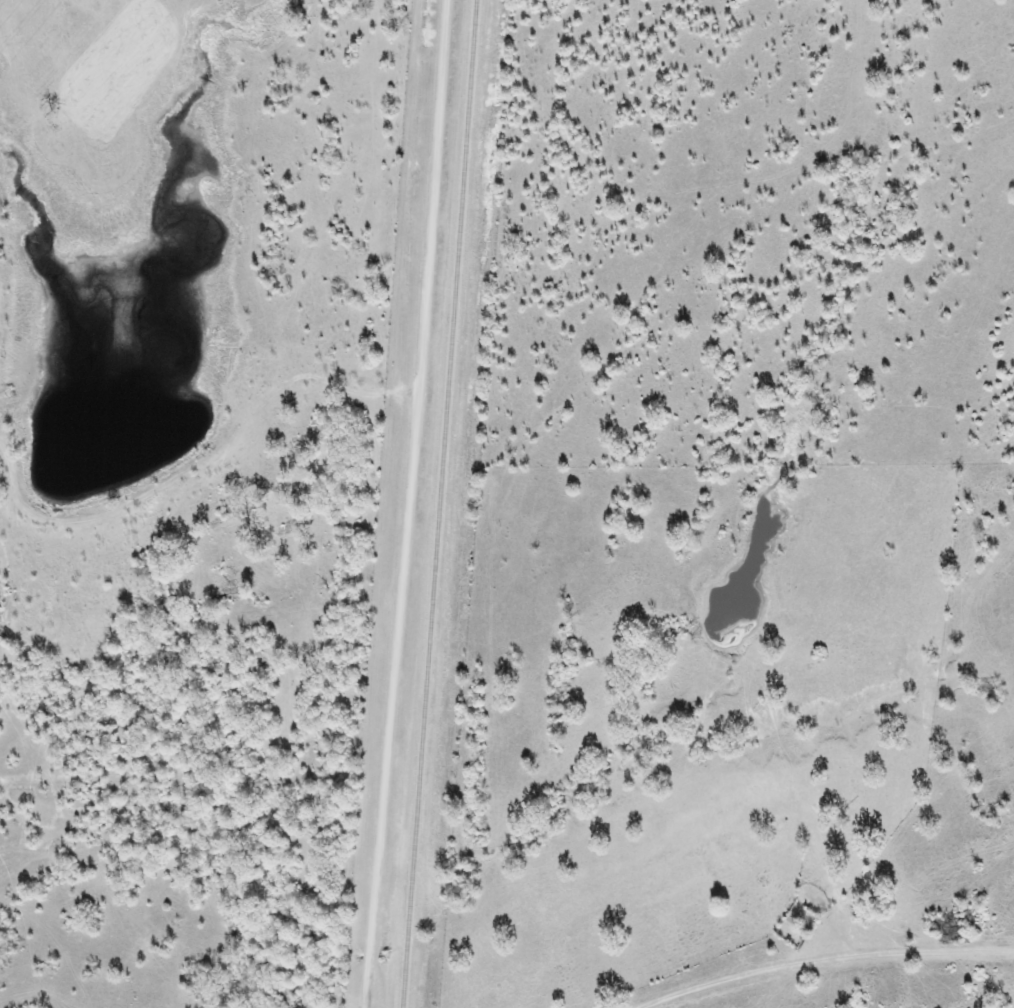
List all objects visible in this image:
railway: (441, 503)
road: (406, 504)
road: (750, 979)

